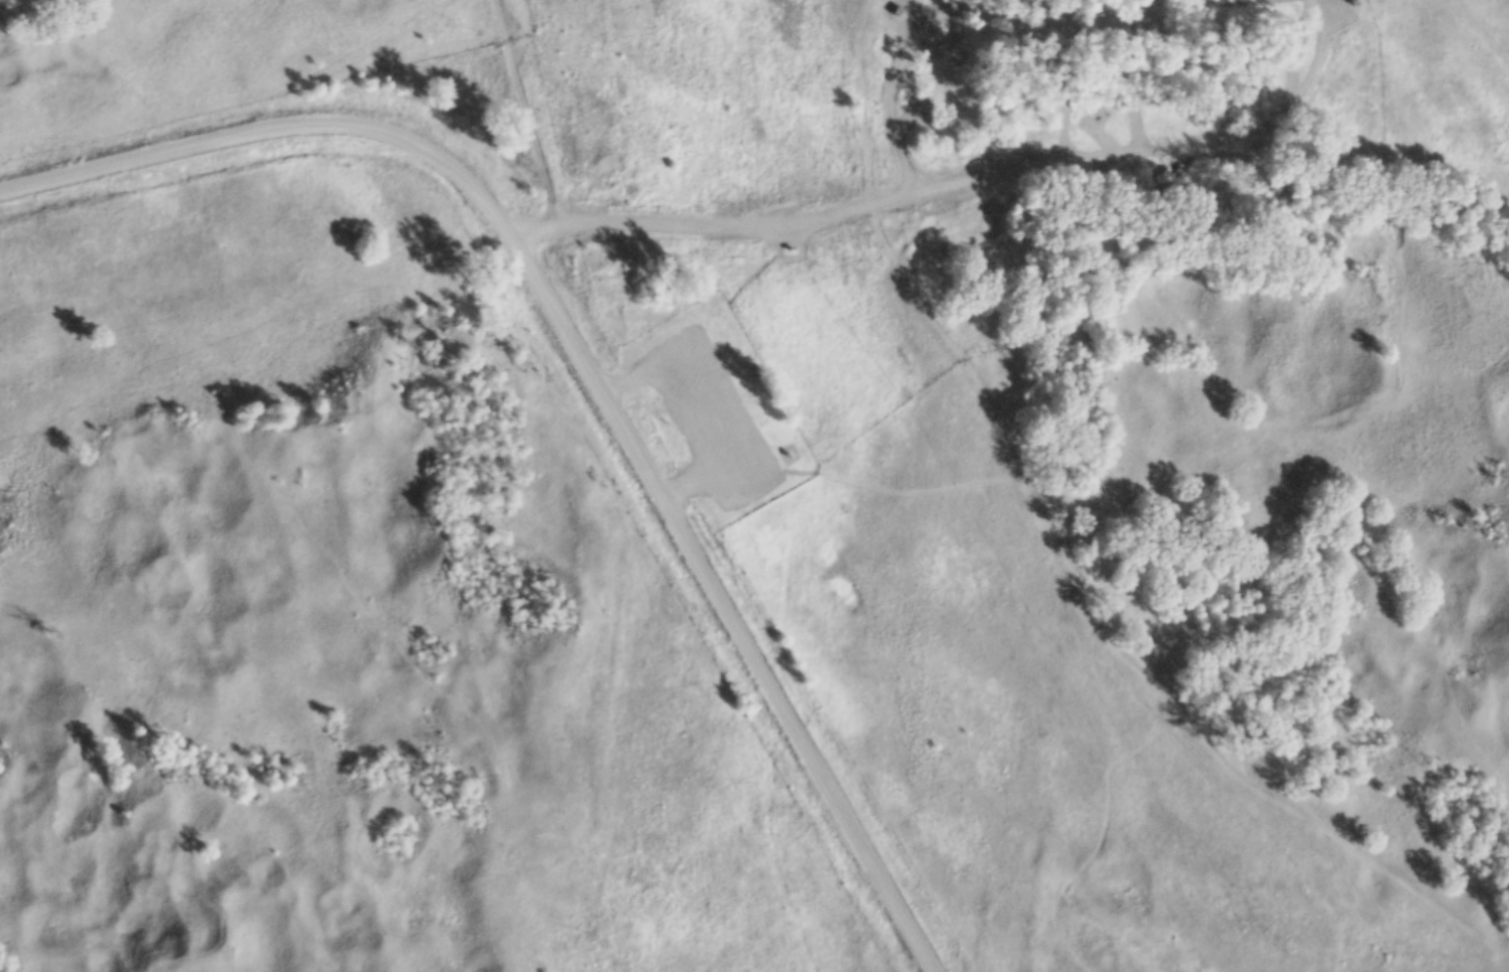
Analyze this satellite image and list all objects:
building: (1348, 10)
building: (893, 21)
road: (886, 86)
road: (860, 102)
road: (521, 112)
road: (1154, 154)
road: (711, 228)
building: (789, 259)
road: (581, 362)
road: (701, 409)
parking lot: (707, 419)
building: (786, 464)
road: (874, 490)
road: (1086, 609)
road: (1030, 625)
road: (1336, 841)

